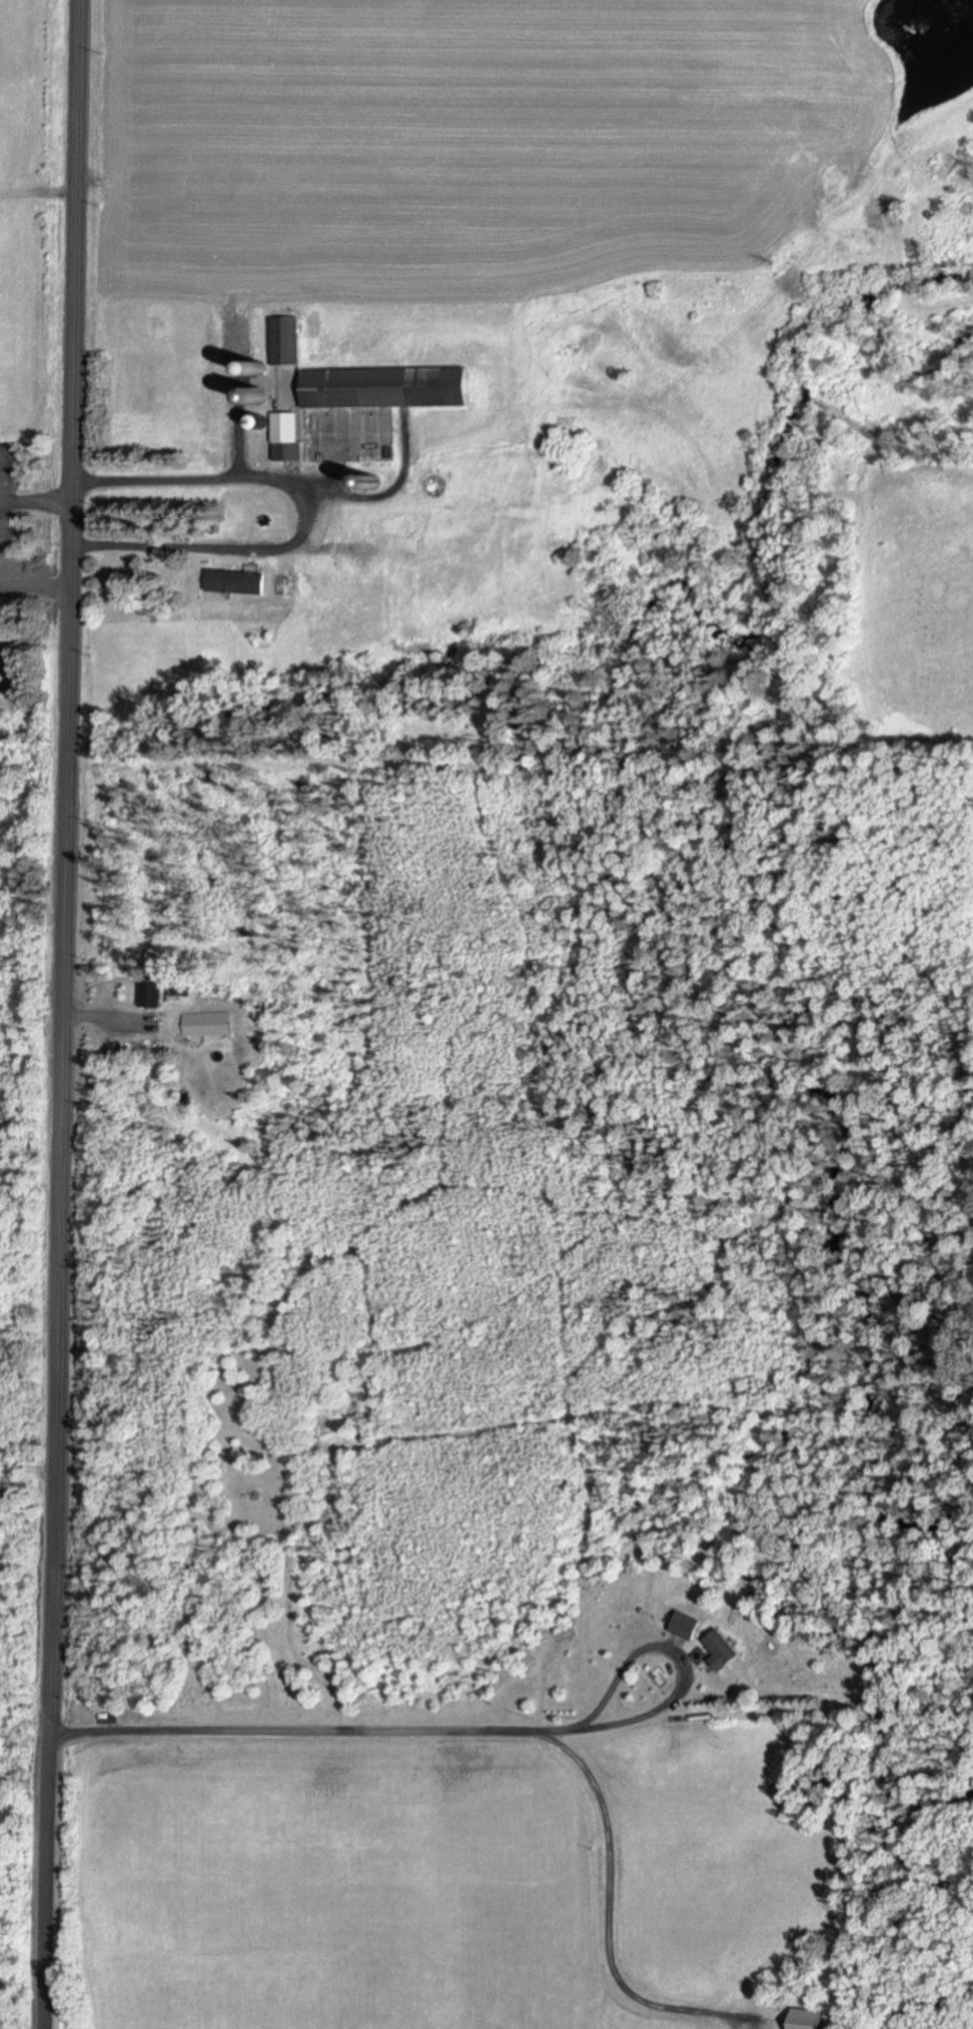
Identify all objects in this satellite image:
road: (37, 192)
road: (213, 298)
building: (285, 339)
building: (257, 367)
building: (385, 385)
building: (257, 397)
building: (258, 419)
building: (286, 435)
building: (362, 436)
building: (372, 480)
road: (35, 501)
road: (306, 515)
building: (379, 523)
building: (236, 580)
road: (34, 591)
river: (755, 866)
building: (150, 988)
road: (64, 1014)
building: (206, 1022)
building: (687, 1625)
building: (724, 1649)
road: (687, 1679)
road: (502, 1733)
river: (943, 1886)
building: (812, 2019)

